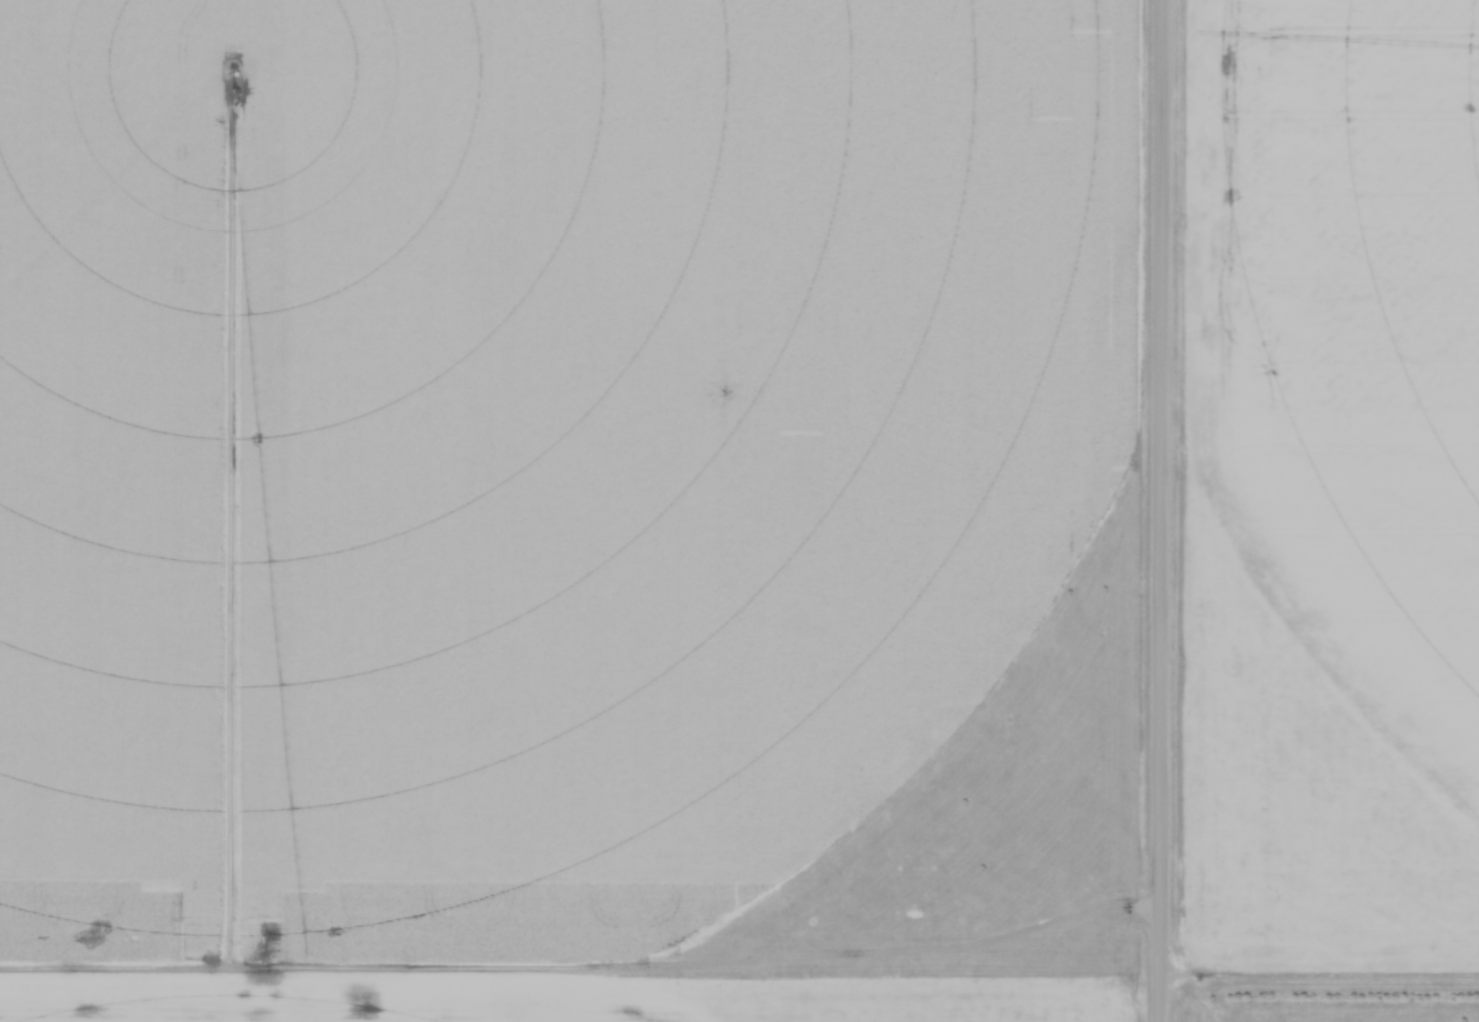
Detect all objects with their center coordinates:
road: (1161, 511)

